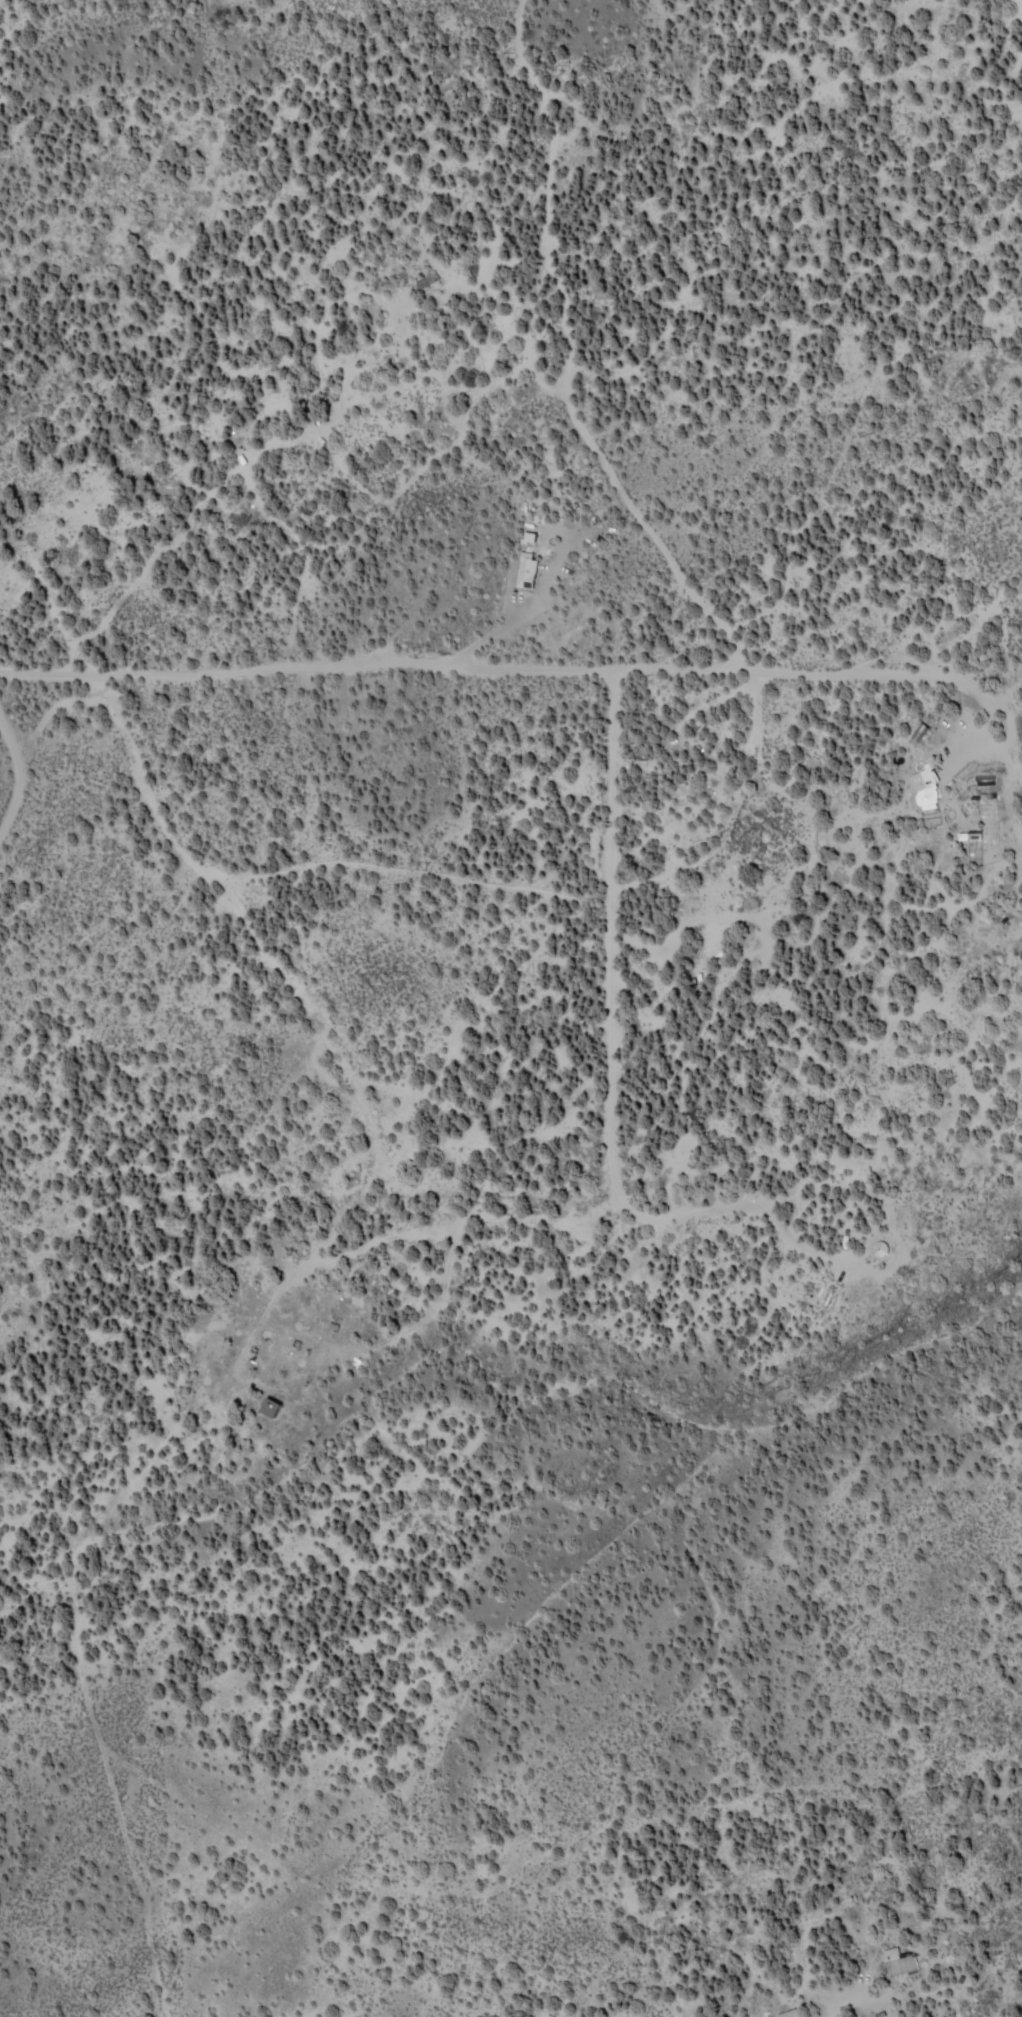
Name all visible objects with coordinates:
building: (526, 559)
road: (719, 598)
road: (133, 660)
building: (917, 733)
building: (924, 788)
road: (456, 1001)
road: (319, 1246)
building: (278, 1406)
building: (898, 1960)
building: (787, 2013)

